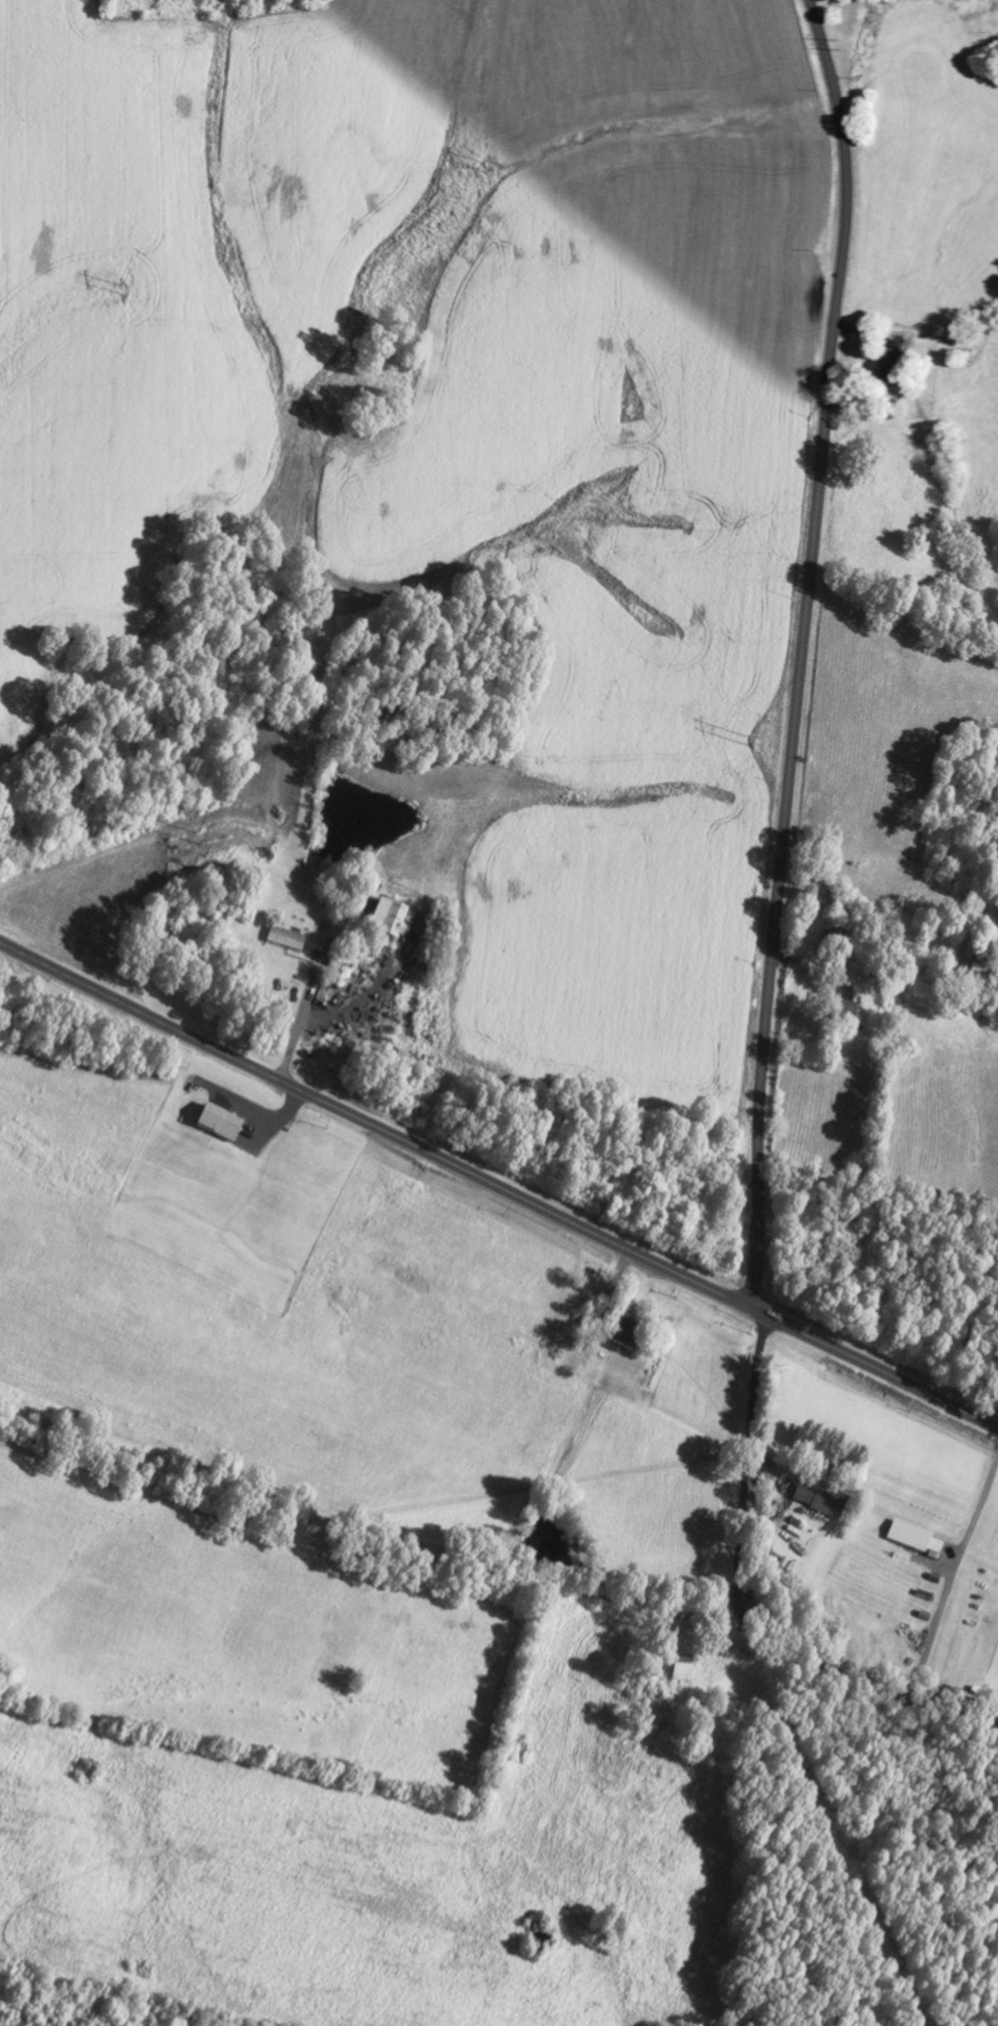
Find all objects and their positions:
building: (896, 364)
road: (802, 652)
building: (393, 924)
building: (284, 942)
building: (832, 946)
building: (979, 977)
building: (840, 1013)
building: (220, 1126)
road: (498, 1187)
building: (628, 1337)
building: (819, 1504)
building: (909, 1540)
road: (741, 1606)
building: (682, 1671)

